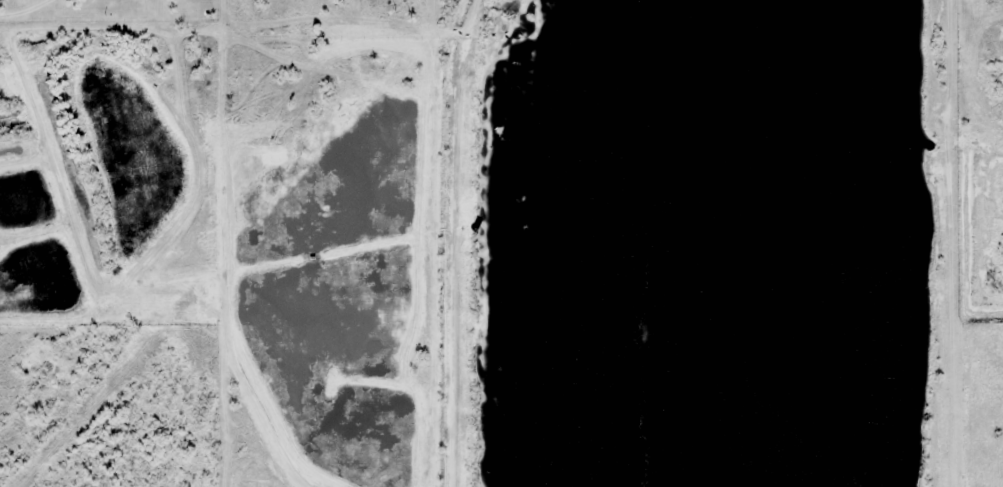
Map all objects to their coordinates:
road: (23, 9)

